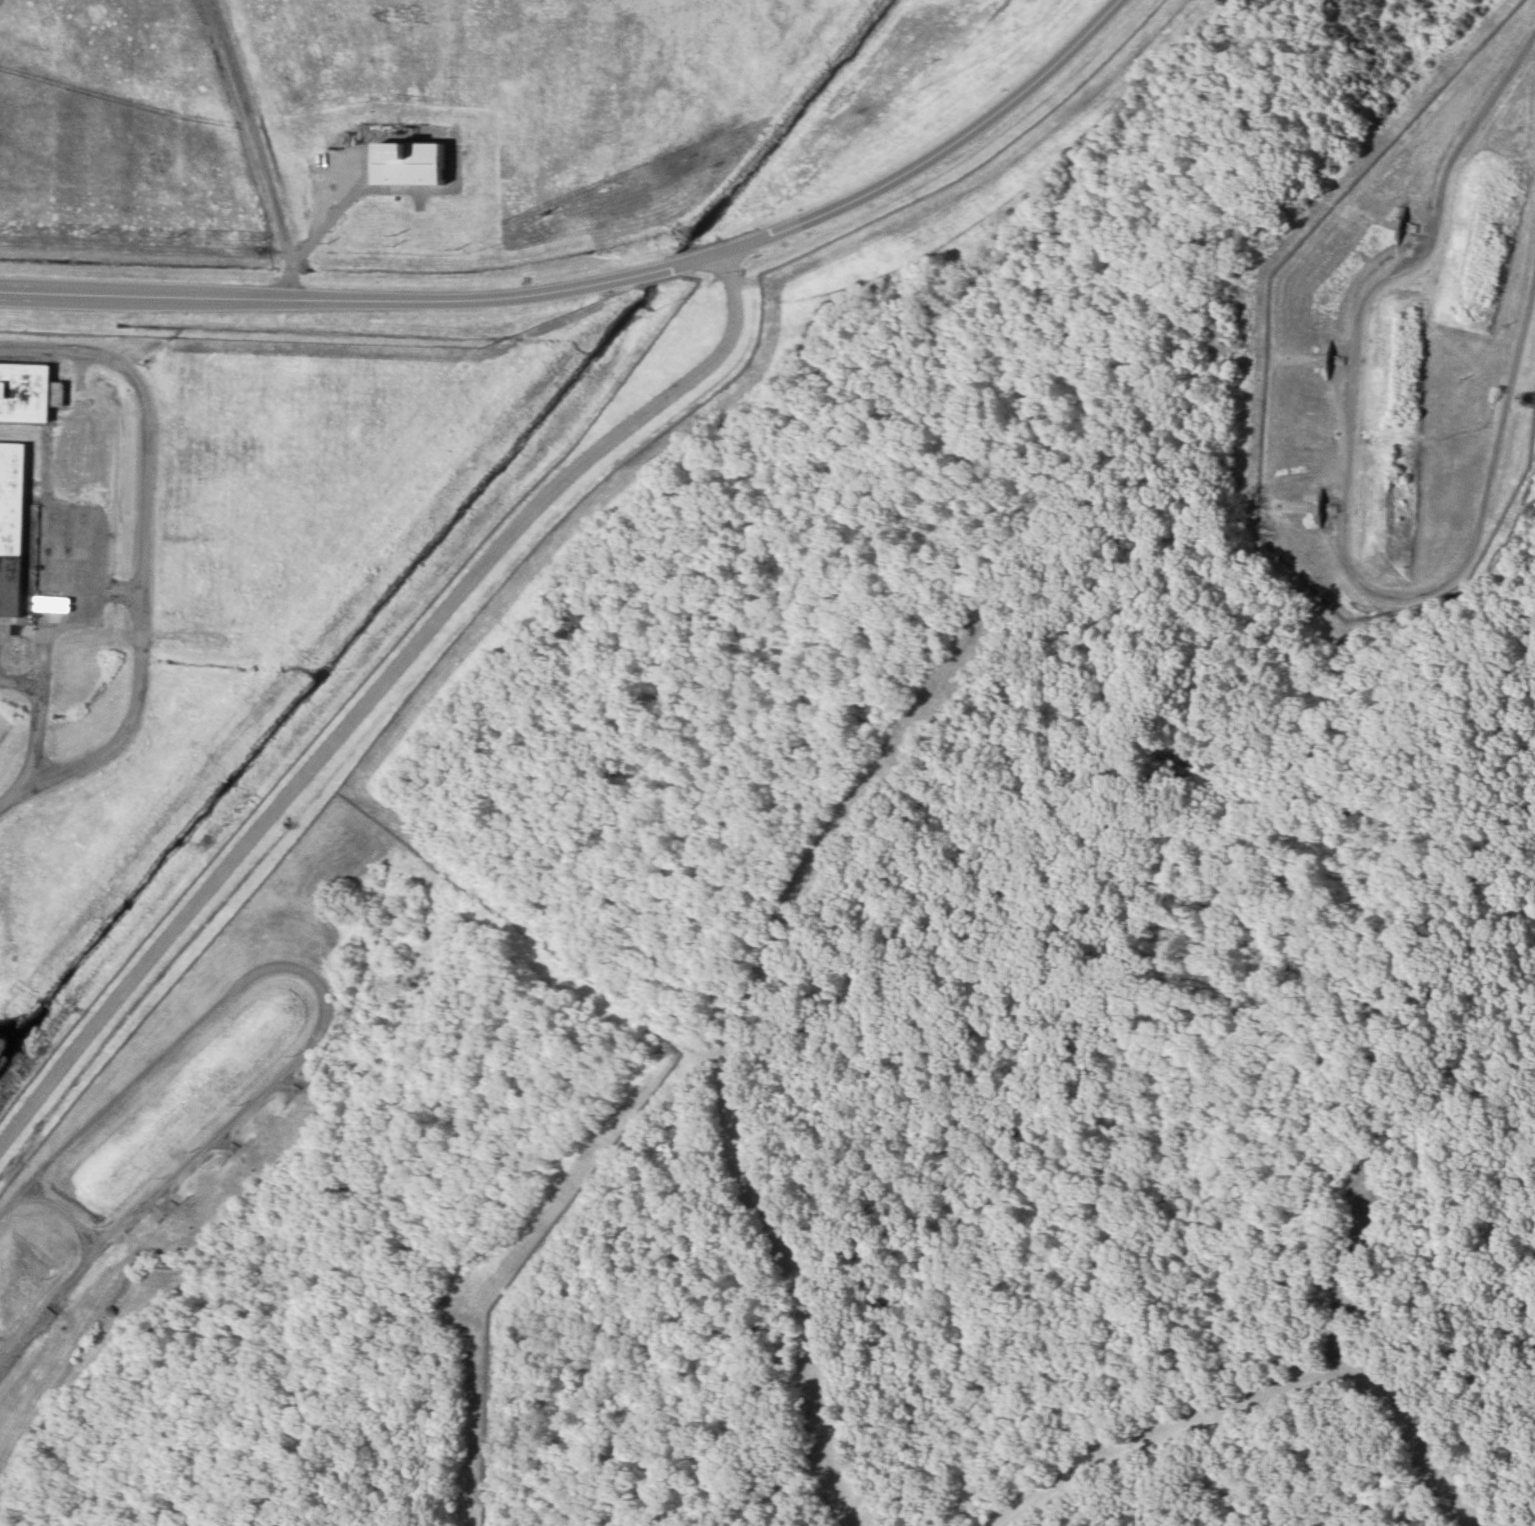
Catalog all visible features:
road: (253, 131)
building: (412, 163)
road: (324, 224)
road: (599, 279)
building: (28, 392)
road: (1345, 495)
building: (14, 536)
road: (138, 549)
road: (19, 674)
road: (35, 704)

